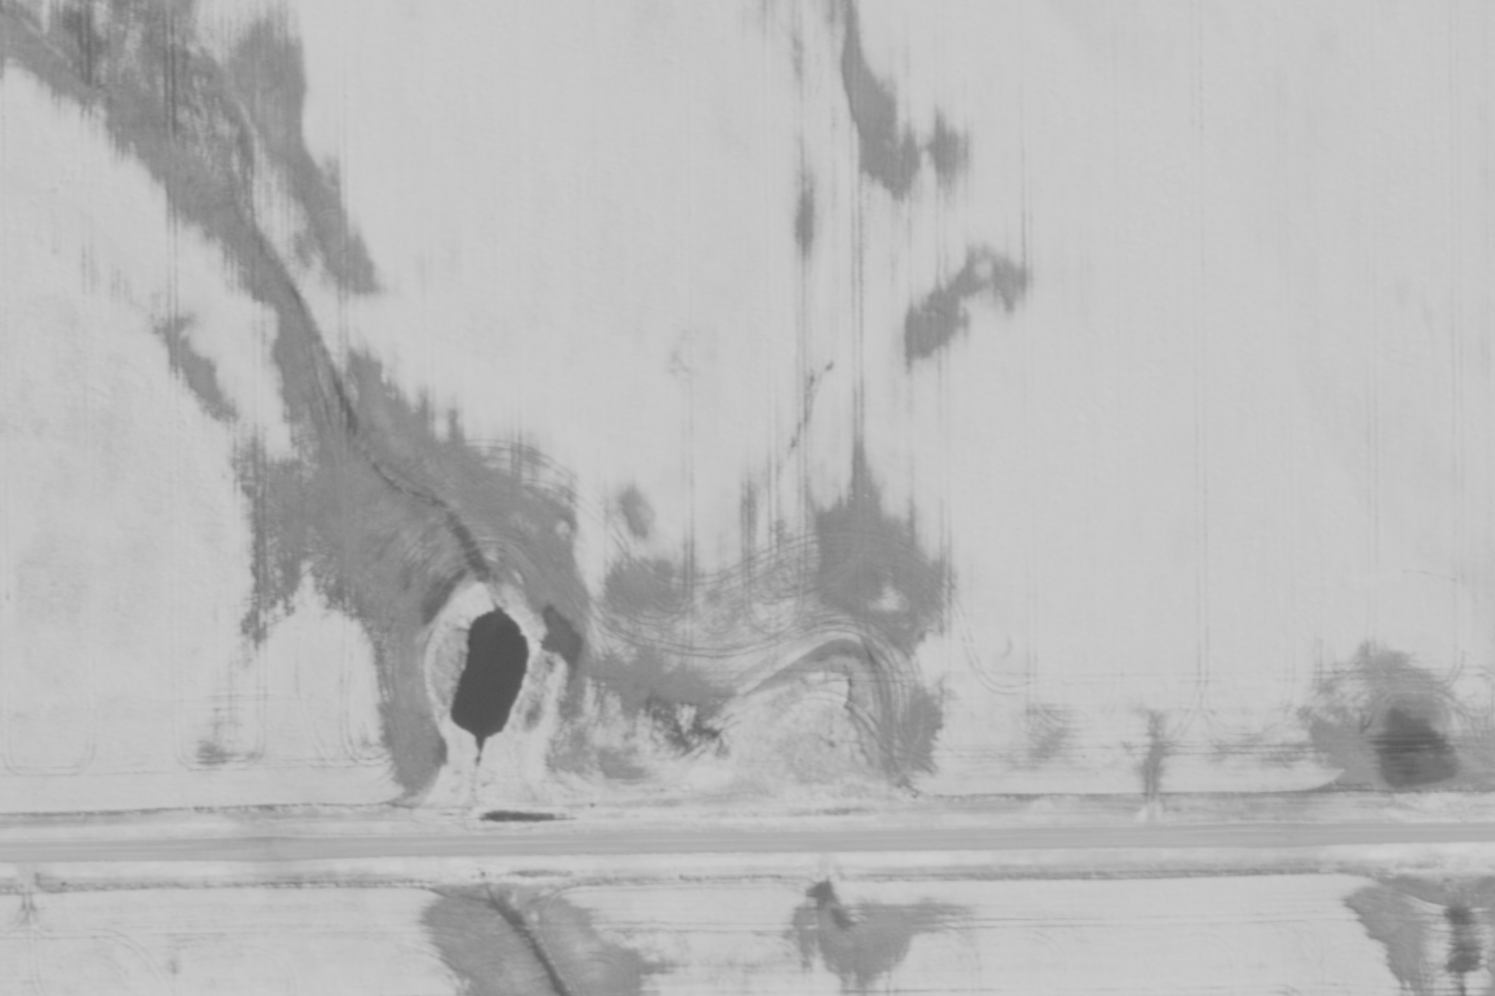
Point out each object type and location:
road: (747, 842)

